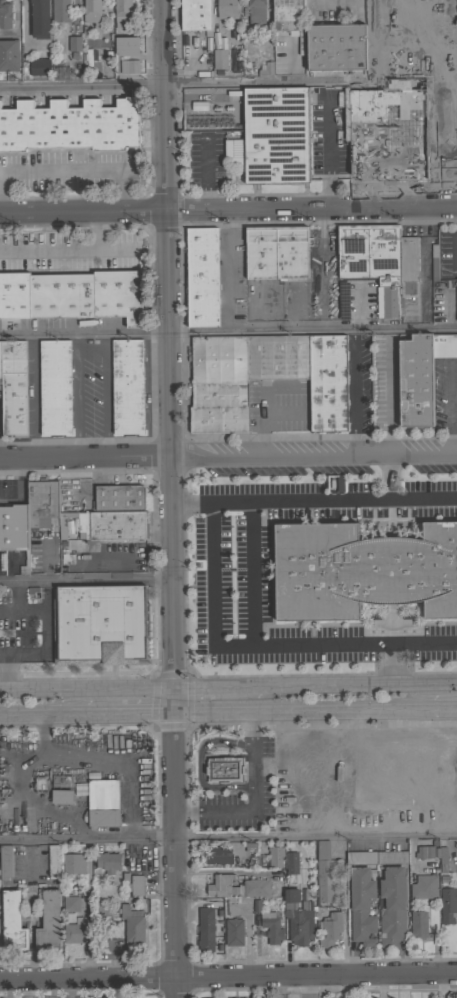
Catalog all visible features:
building: (226, 9)
building: (60, 11)
building: (256, 11)
building: (122, 13)
building: (5, 14)
building: (92, 14)
building: (196, 15)
building: (289, 18)
building: (40, 19)
building: (378, 20)
building: (74, 43)
building: (126, 46)
building: (335, 46)
building: (9, 55)
building: (219, 59)
building: (128, 66)
building: (39, 67)
building: (265, 69)
building: (59, 71)
road: (228, 83)
road: (164, 105)
building: (70, 125)
building: (441, 131)
building: (276, 135)
road: (327, 144)
road: (60, 168)
road: (312, 208)
road: (83, 211)
road: (68, 249)
building: (261, 252)
building: (292, 252)
building: (372, 260)
building: (434, 262)
building: (410, 263)
road: (226, 270)
building: (202, 277)
building: (72, 296)
building: (456, 300)
building: (340, 303)
road: (228, 331)
building: (444, 345)
building: (276, 359)
building: (415, 379)
building: (327, 383)
building: (219, 385)
building: (127, 386)
building: (54, 387)
building: (12, 390)
road: (351, 394)
road: (33, 397)
road: (88, 397)
road: (168, 449)
road: (228, 457)
road: (19, 486)
building: (117, 499)
road: (397, 502)
building: (40, 504)
road: (276, 504)
building: (108, 526)
building: (13, 530)
building: (362, 570)
road: (85, 579)
road: (249, 579)
road: (8, 609)
building: (99, 624)
road: (47, 640)
road: (222, 652)
road: (402, 652)
road: (3, 654)
road: (358, 684)
road: (217, 687)
road: (86, 689)
road: (442, 712)
road: (300, 713)
road: (128, 715)
road: (41, 717)
road: (43, 737)
road: (60, 757)
road: (197, 763)
building: (224, 770)
building: (61, 783)
building: (61, 798)
road: (254, 802)
building: (102, 804)
road: (228, 836)
road: (172, 842)
building: (426, 851)
building: (218, 855)
building: (441, 855)
building: (275, 856)
building: (376, 857)
building: (54, 860)
building: (6, 862)
building: (75, 862)
building: (109, 862)
building: (291, 863)
road: (219, 871)
building: (325, 873)
building: (134, 883)
building: (239, 887)
building: (424, 887)
building: (70, 904)
building: (448, 905)
building: (361, 907)
building: (392, 907)
building: (298, 917)
building: (12, 921)
building: (49, 921)
building: (132, 924)
building: (418, 924)
building: (271, 927)
building: (205, 929)
building: (330, 929)
building: (76, 931)
building: (234, 932)
road: (228, 977)
road: (254, 987)
road: (55, 989)

